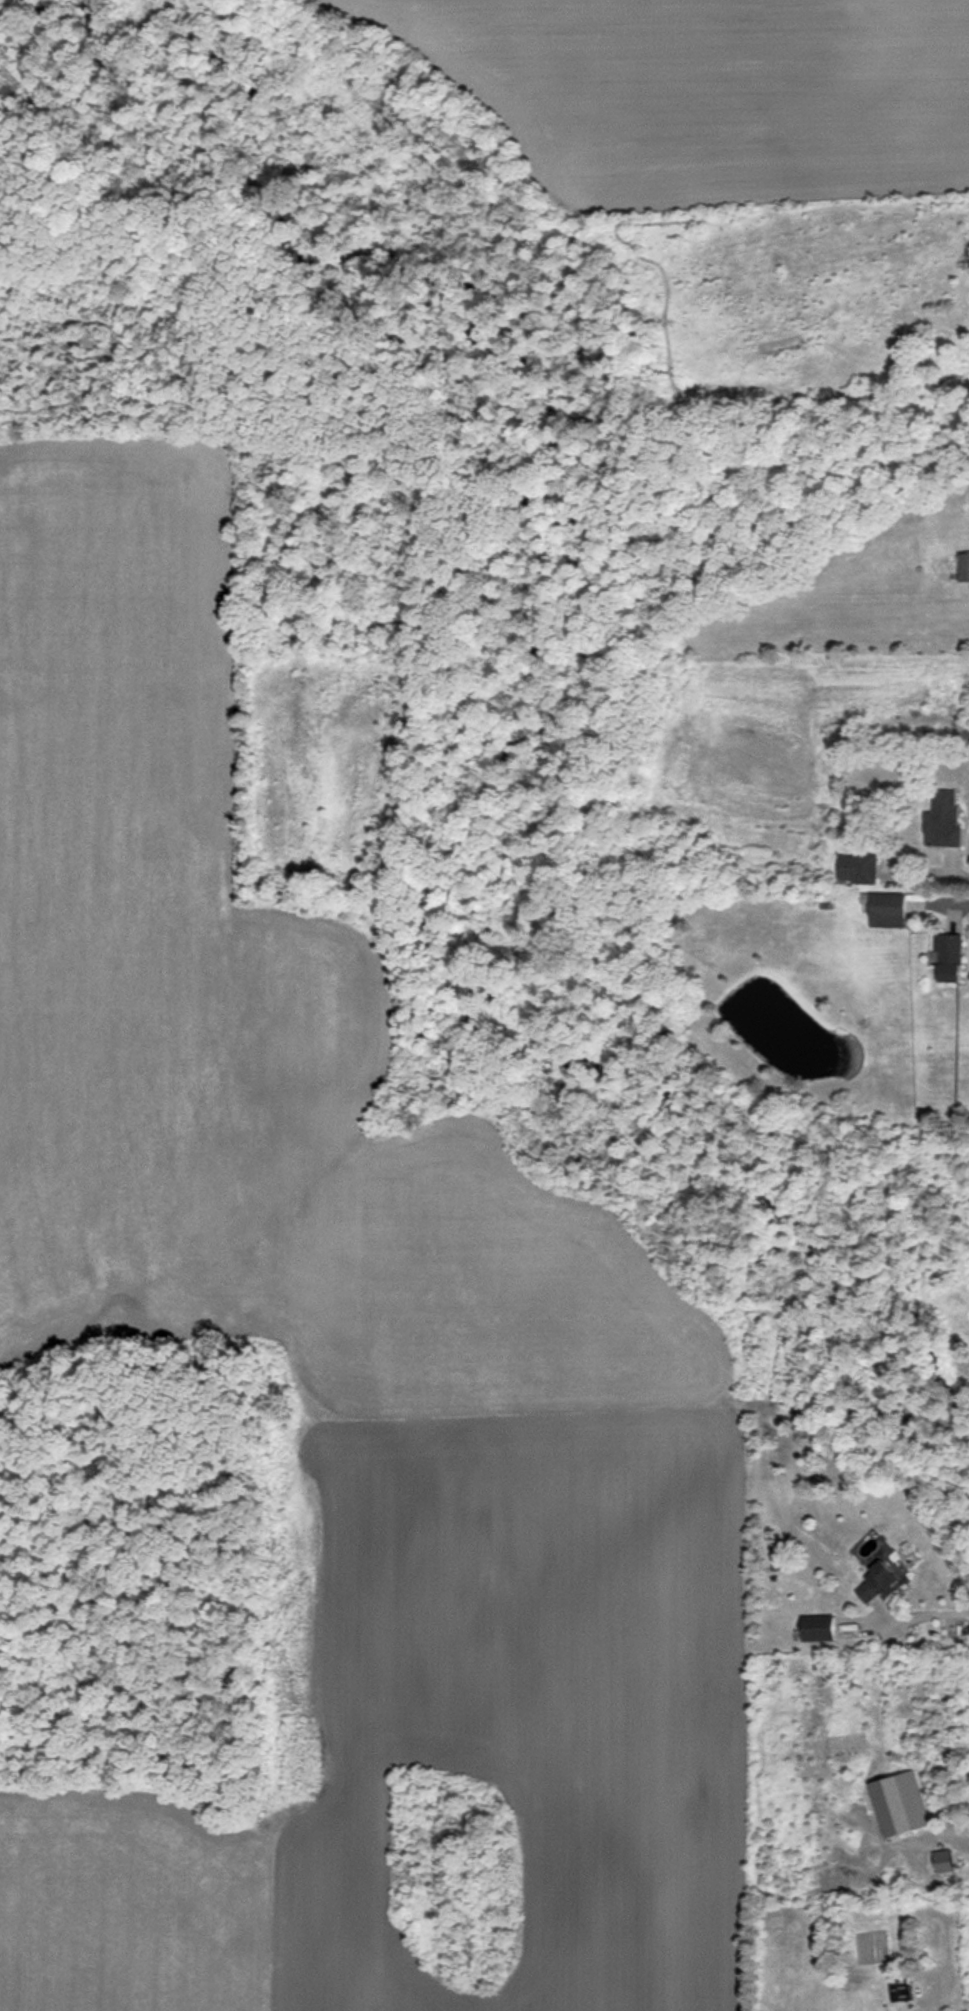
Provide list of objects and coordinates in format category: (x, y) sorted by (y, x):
building: (964, 567)
building: (944, 819)
building: (858, 868)
road: (958, 872)
road: (955, 902)
building: (888, 910)
building: (950, 956)
building: (880, 1583)
road: (927, 1614)
building: (819, 1628)
building: (900, 1803)
building: (944, 1861)
building: (899, 1989)

